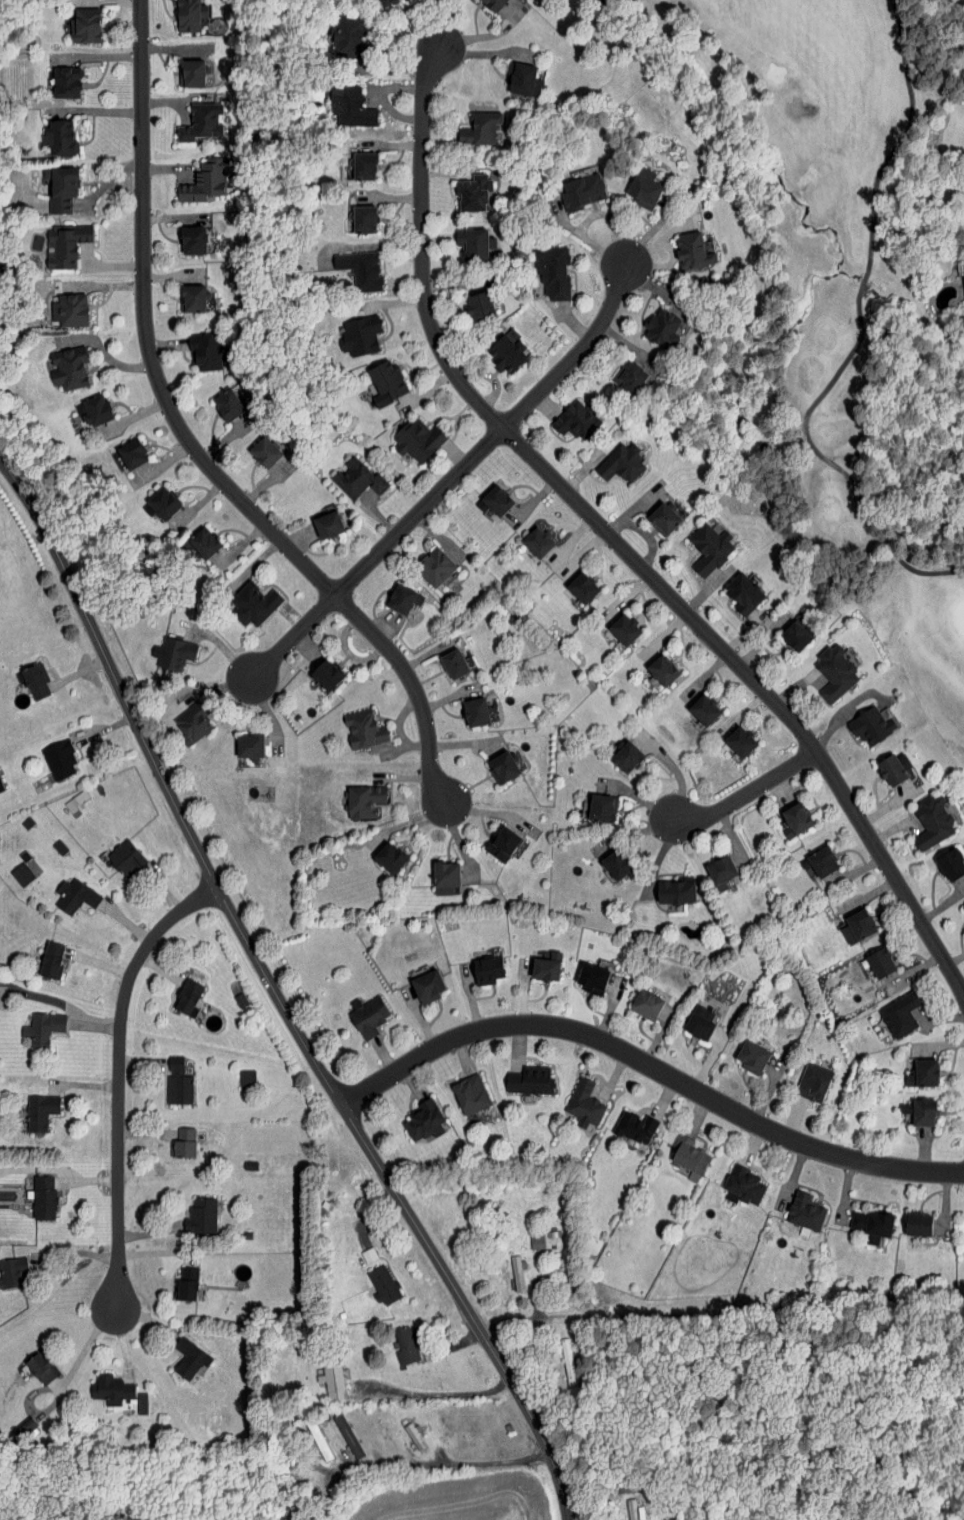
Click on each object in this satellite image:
building: (387, 2)
building: (492, 4)
building: (188, 15)
building: (84, 26)
building: (190, 73)
building: (521, 81)
building: (66, 82)
building: (351, 106)
building: (200, 123)
building: (478, 129)
building: (58, 139)
building: (363, 167)
building: (205, 181)
building: (59, 189)
building: (642, 190)
building: (582, 192)
building: (472, 193)
building: (362, 220)
building: (193, 239)
building: (471, 245)
building: (68, 247)
building: (693, 249)
building: (963, 260)
building: (360, 270)
building: (551, 271)
building: (194, 299)
park: (837, 303)
building: (478, 307)
building: (70, 309)
building: (663, 327)
building: (360, 336)
building: (505, 352)
building: (206, 353)
road: (575, 356)
building: (67, 368)
building: (630, 376)
building: (385, 383)
building: (231, 406)
building: (98, 412)
building: (574, 421)
road: (193, 436)
building: (420, 438)
building: (267, 453)
building: (134, 457)
building: (621, 464)
building: (356, 478)
building: (493, 502)
building: (166, 504)
building: (665, 516)
building: (331, 527)
building: (535, 540)
road: (616, 542)
building: (206, 546)
building: (709, 546)
road: (376, 556)
building: (434, 565)
building: (581, 586)
building: (743, 592)
building: (404, 598)
building: (255, 606)
building: (623, 628)
building: (794, 634)
building: (177, 654)
building: (457, 664)
road: (78, 666)
building: (661, 668)
building: (834, 672)
building: (329, 678)
building: (34, 679)
building: (702, 708)
building: (478, 714)
building: (871, 724)
building: (194, 725)
building: (364, 730)
road: (109, 736)
building: (739, 740)
building: (252, 749)
building: (626, 756)
building: (59, 758)
building: (893, 767)
building: (506, 769)
road: (674, 770)
building: (0, 786)
road: (749, 789)
building: (76, 799)
road: (644, 800)
building: (366, 801)
building: (601, 807)
building: (794, 819)
building: (931, 821)
road: (633, 833)
road: (732, 838)
building: (506, 843)
building: (59, 846)
building: (125, 858)
building: (392, 858)
road: (658, 858)
building: (821, 860)
building: (615, 863)
building: (720, 871)
building: (21, 873)
building: (449, 873)
road: (163, 889)
building: (674, 891)
building: (74, 895)
road: (128, 922)
building: (856, 925)
building: (51, 959)
building: (878, 961)
building: (545, 965)
road: (99, 966)
road: (160, 966)
building: (487, 970)
building: (591, 978)
building: (426, 986)
road: (276, 995)
building: (186, 996)
building: (645, 1004)
building: (899, 1014)
building: (367, 1017)
building: (701, 1019)
building: (44, 1027)
road: (96, 1031)
building: (750, 1056)
road: (649, 1060)
road: (142, 1063)
building: (922, 1073)
road: (117, 1074)
building: (246, 1077)
building: (529, 1080)
building: (812, 1081)
building: (177, 1082)
road: (84, 1084)
building: (469, 1093)
building: (584, 1103)
building: (38, 1111)
building: (919, 1111)
building: (422, 1121)
building: (634, 1126)
road: (143, 1135)
building: (183, 1143)
building: (688, 1157)
road: (91, 1181)
building: (743, 1186)
building: (43, 1197)
building: (805, 1211)
building: (202, 1215)
building: (871, 1224)
building: (917, 1224)
road: (148, 1232)
building: (537, 1241)
road: (156, 1257)
road: (80, 1258)
building: (12, 1271)
building: (517, 1272)
building: (185, 1284)
building: (383, 1284)
road: (145, 1320)
road: (548, 1327)
road: (122, 1341)
building: (406, 1345)
road: (83, 1350)
building: (188, 1358)
building: (39, 1368)
building: (331, 1381)
building: (110, 1388)
road: (437, 1395)
building: (347, 1435)
building: (413, 1435)
road: (427, 1462)
building: (634, 1510)

